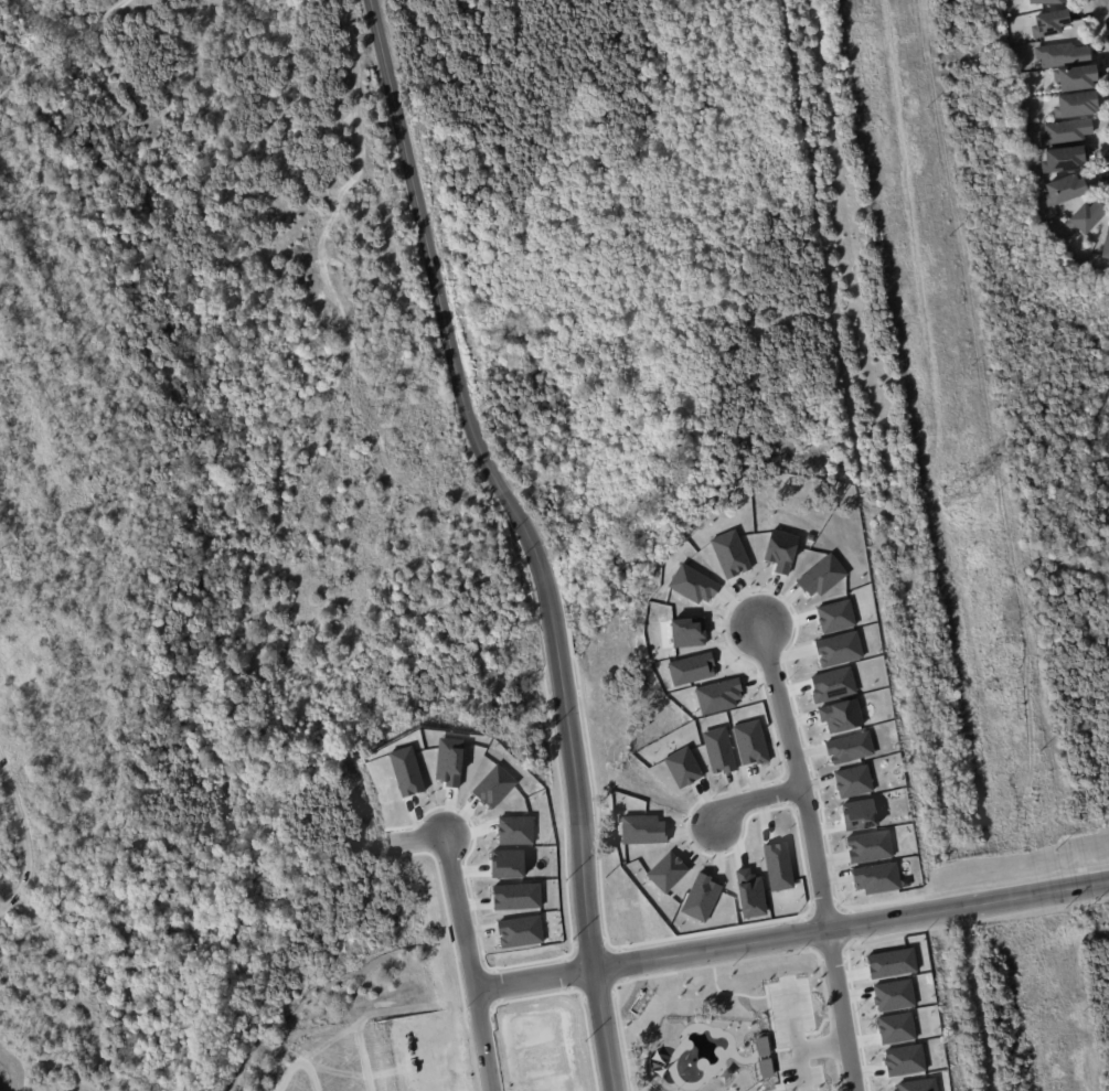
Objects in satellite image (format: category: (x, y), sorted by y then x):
building: (1045, 1)
building: (1048, 23)
road: (61, 47)
building: (1062, 55)
building: (1075, 77)
building: (1075, 105)
building: (1066, 132)
building: (1063, 159)
building: (1063, 190)
building: (1084, 217)
building: (1105, 245)
road: (439, 311)
power tower: (956, 494)
building: (782, 550)
building: (732, 554)
building: (821, 575)
building: (695, 585)
building: (838, 616)
building: (691, 632)
road: (554, 643)
building: (840, 649)
building: (694, 668)
building: (834, 685)
building: (719, 695)
building: (843, 715)
building: (753, 742)
building: (851, 748)
building: (721, 750)
building: (451, 761)
building: (685, 767)
building: (409, 771)
building: (854, 781)
building: (495, 785)
road: (756, 795)
building: (861, 814)
building: (641, 830)
building: (516, 831)
road: (424, 836)
road: (19, 839)
building: (871, 846)
road: (814, 856)
building: (510, 864)
building: (779, 865)
building: (668, 871)
building: (876, 877)
road: (595, 881)
building: (751, 894)
building: (518, 897)
building: (700, 897)
road: (856, 921)
building: (520, 931)
road: (470, 962)
building: (894, 963)
road: (540, 976)
building: (895, 995)
road: (393, 1012)
building: (898, 1028)
building: (765, 1046)
building: (907, 1060)
building: (768, 1068)
building: (920, 1084)
road: (297, 1088)

